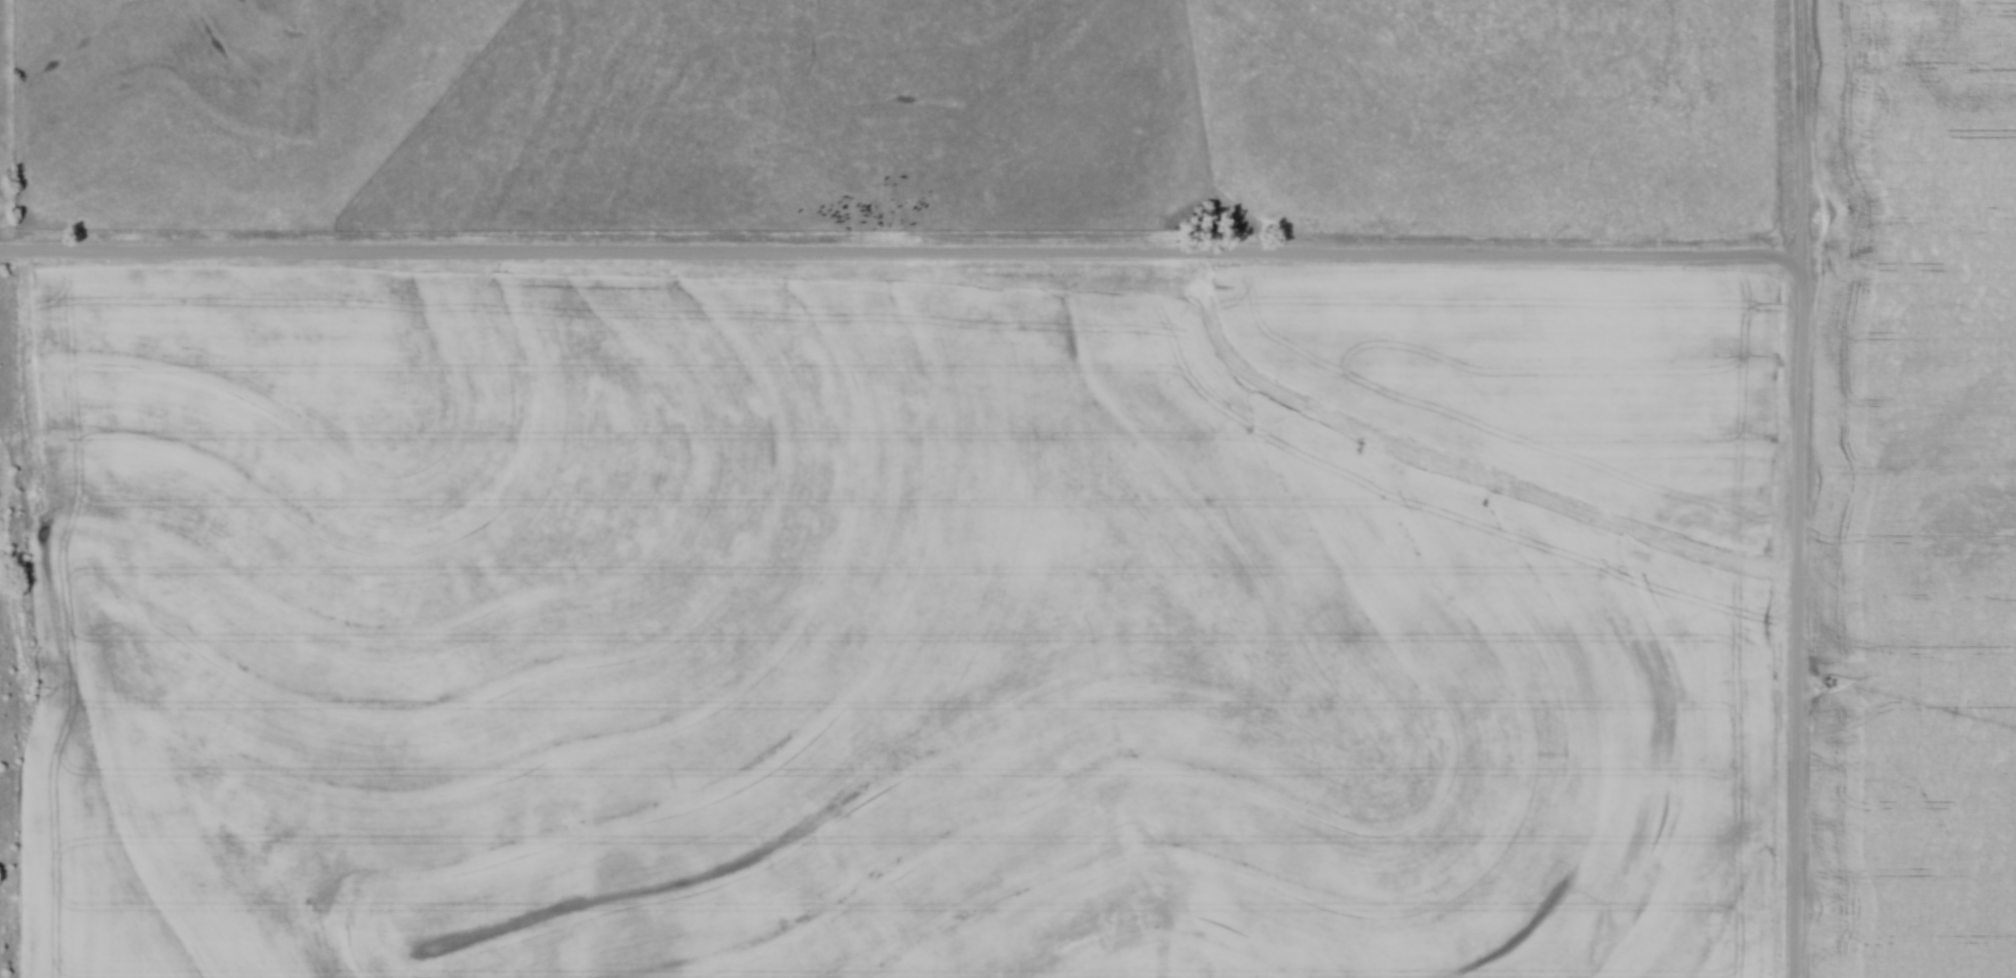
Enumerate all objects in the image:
building: (1854, 204)
road: (900, 252)
road: (1799, 488)

